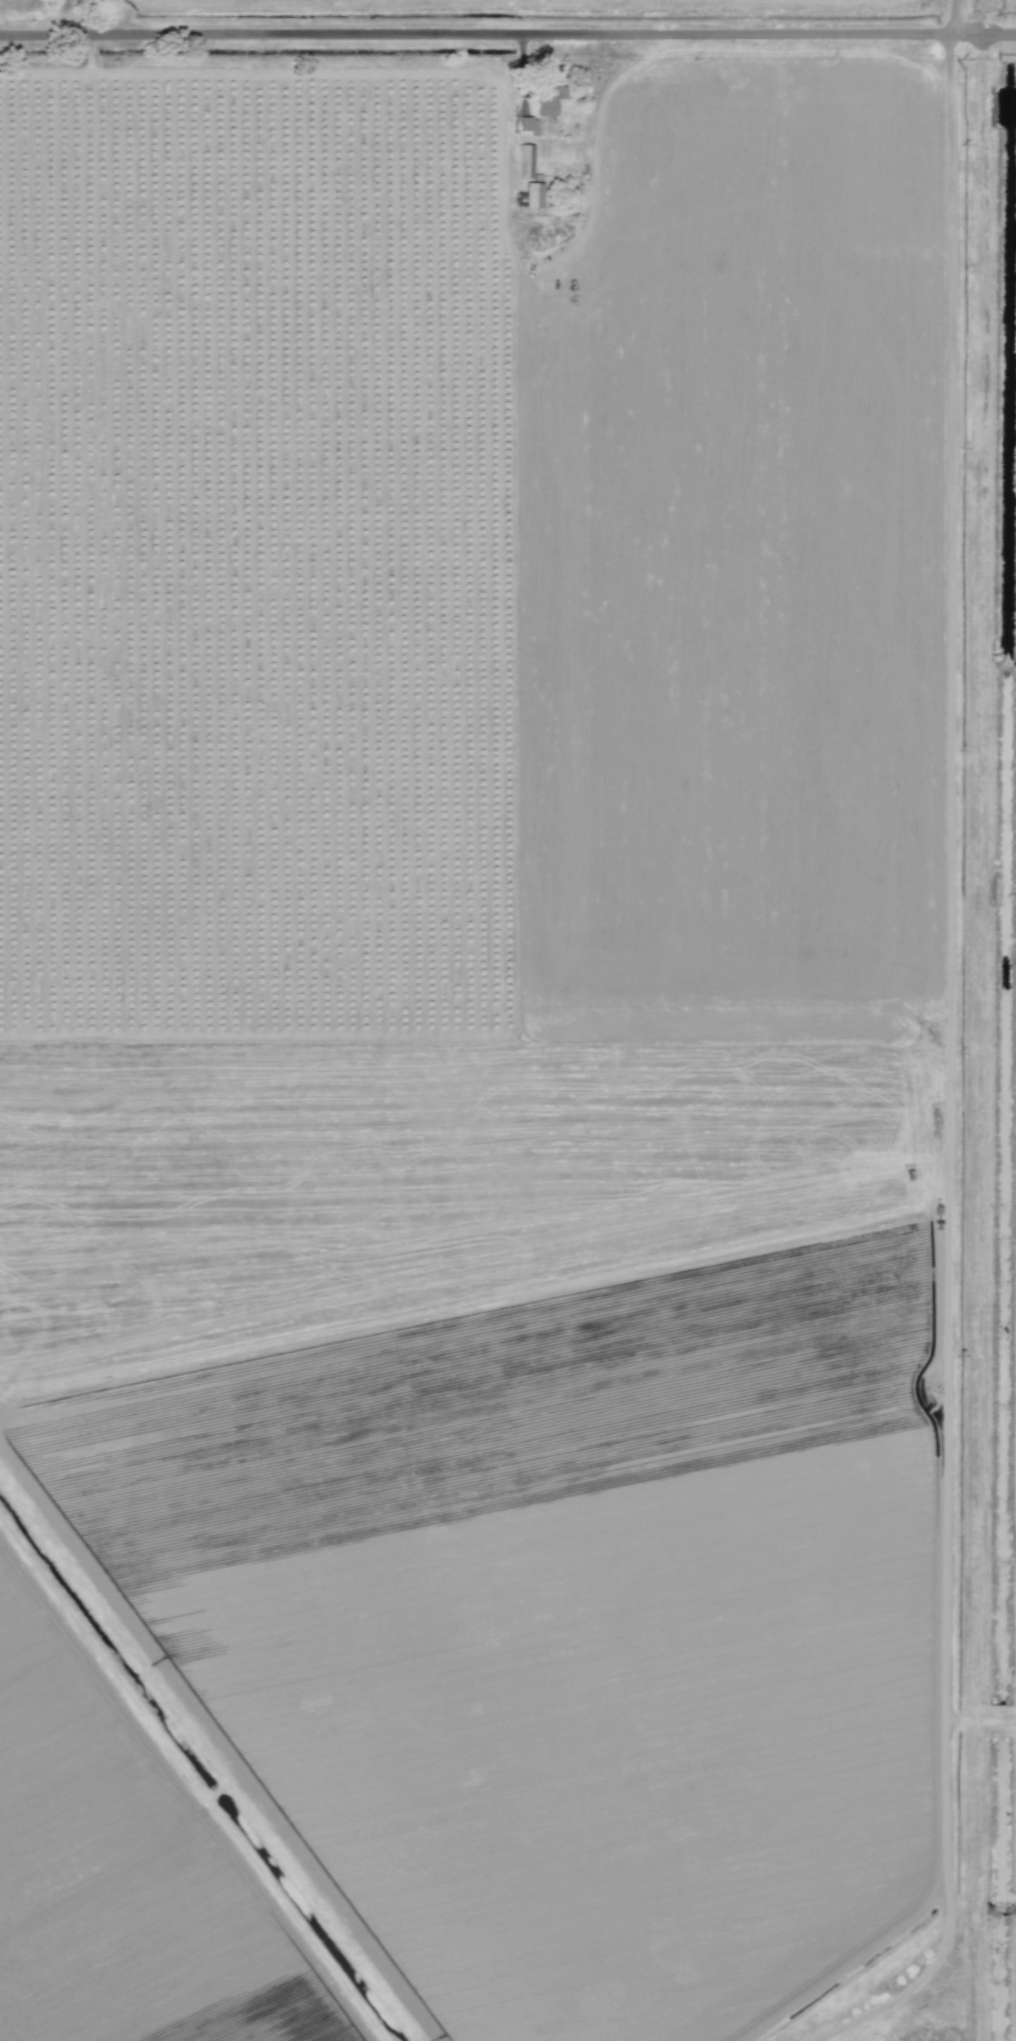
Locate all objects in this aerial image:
road: (81, 17)
road: (508, 35)
building: (548, 95)
road: (951, 1055)
road: (984, 1725)

